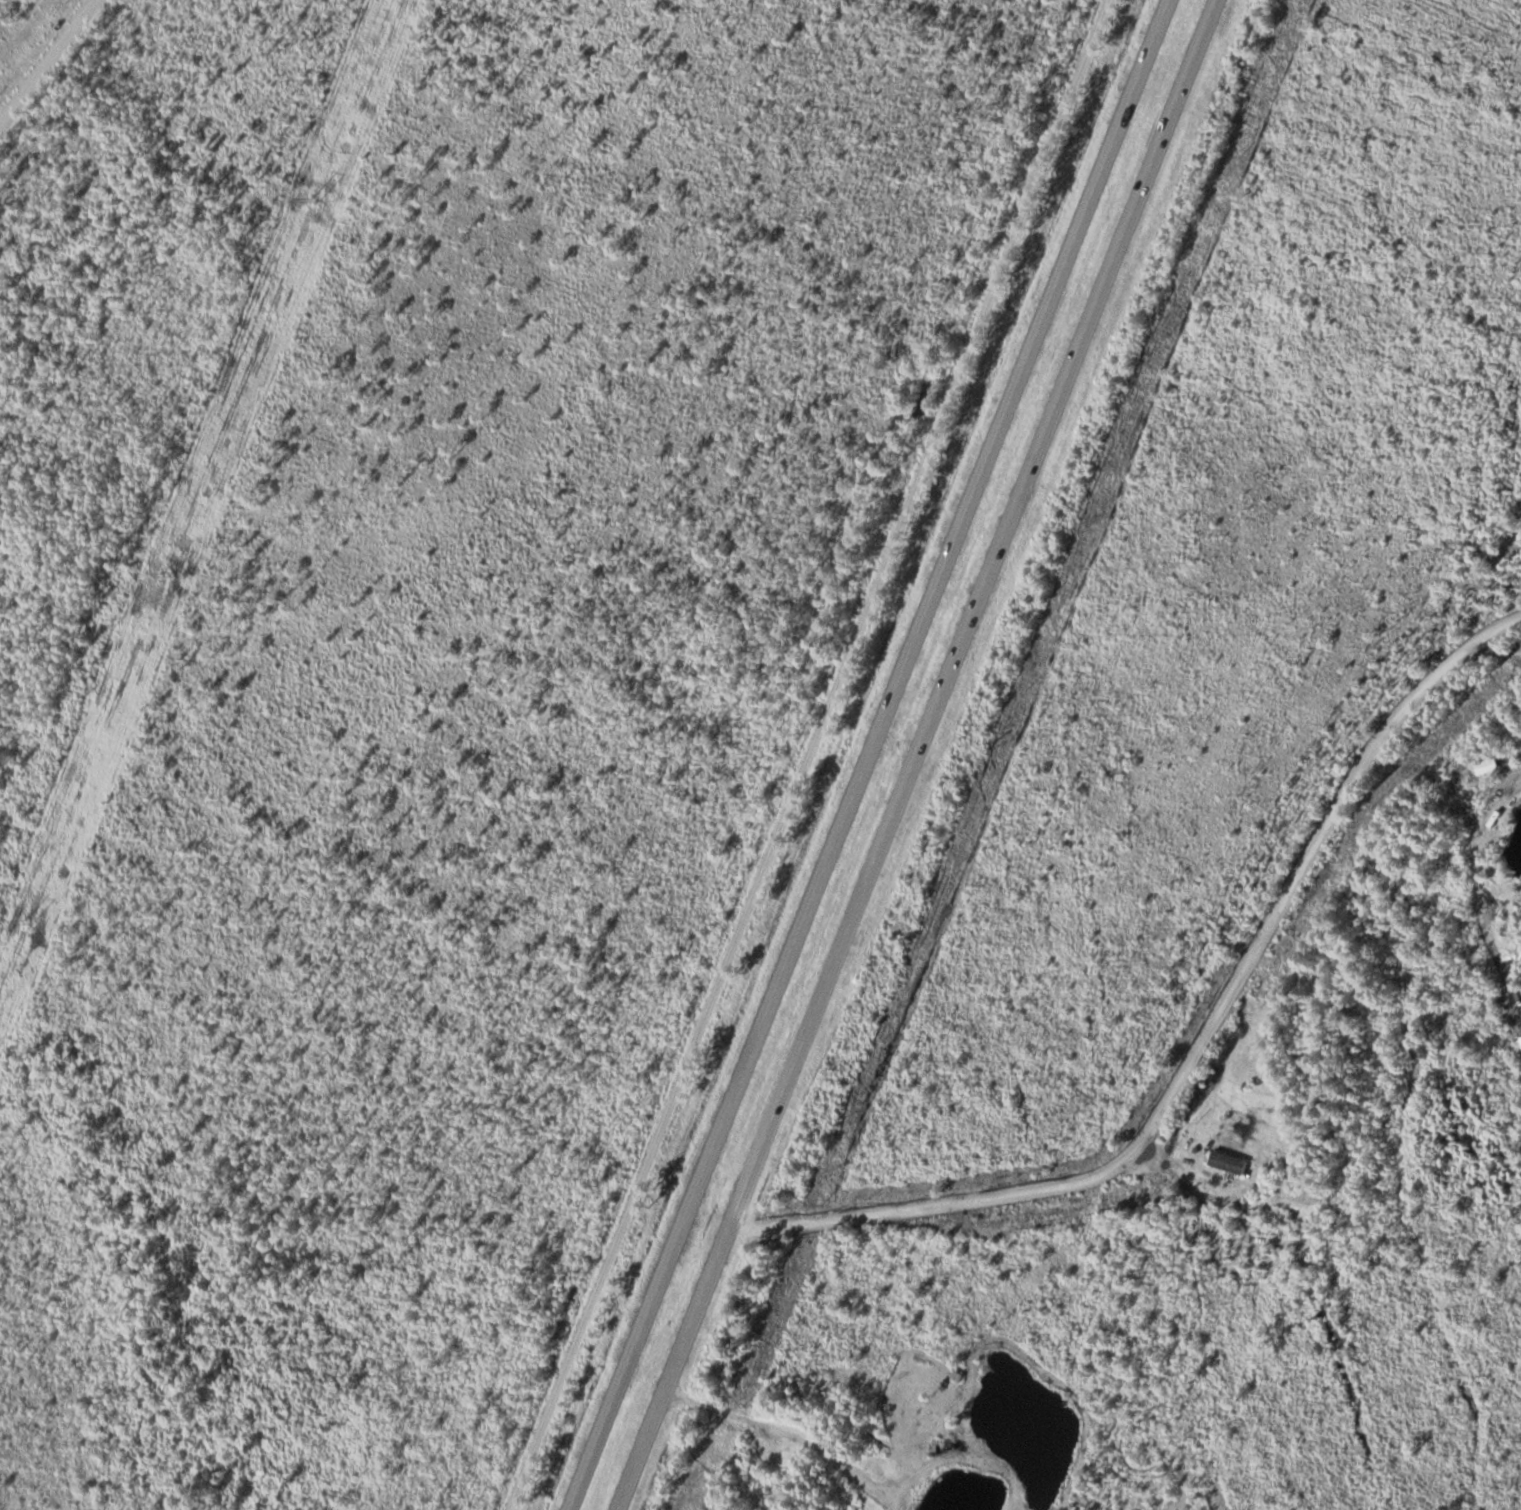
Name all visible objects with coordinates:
road: (46, 58)
road: (807, 754)
road: (807, 754)
road: (868, 754)
road: (914, 754)
building: (1490, 766)
road: (1198, 1042)
building: (1230, 1163)
building: (1274, 1232)
road: (789, 1429)

